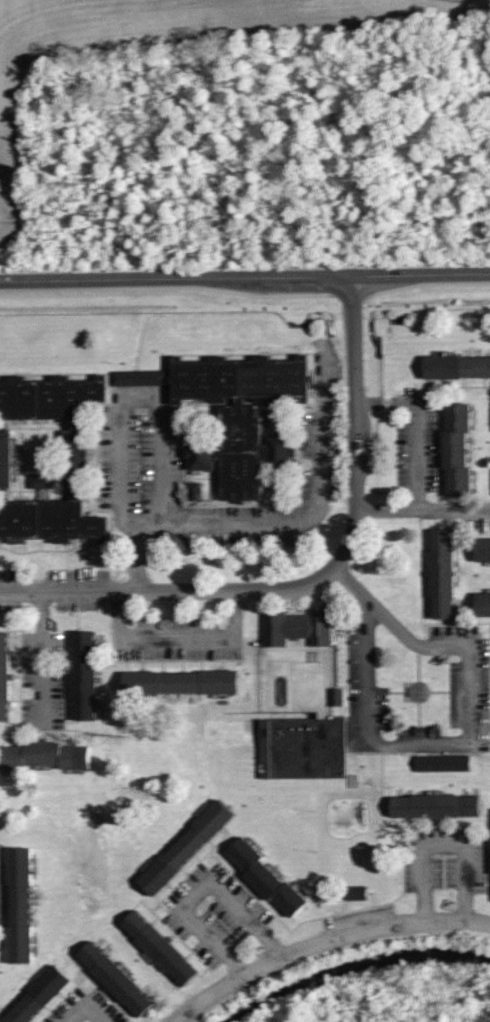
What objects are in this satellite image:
crop: (147, 48)
road: (245, 276)
building: (456, 365)
building: (141, 378)
road: (355, 392)
building: (240, 416)
road: (416, 425)
road: (163, 441)
building: (459, 450)
building: (46, 458)
building: (198, 492)
road: (422, 508)
road: (232, 522)
building: (483, 549)
road: (137, 557)
building: (442, 572)
road: (351, 582)
road: (159, 587)
road: (65, 589)
building: (482, 603)
building: (296, 626)
road: (442, 646)
road: (43, 659)
building: (84, 674)
building: (4, 675)
building: (181, 681)
building: (339, 698)
building: (301, 745)
building: (44, 755)
building: (446, 764)
building: (436, 805)
road: (444, 845)
building: (186, 846)
building: (267, 876)
road: (199, 890)
building: (21, 903)
road: (321, 940)
building: (160, 947)
building: (116, 978)
building: (39, 995)
road: (87, 1011)

